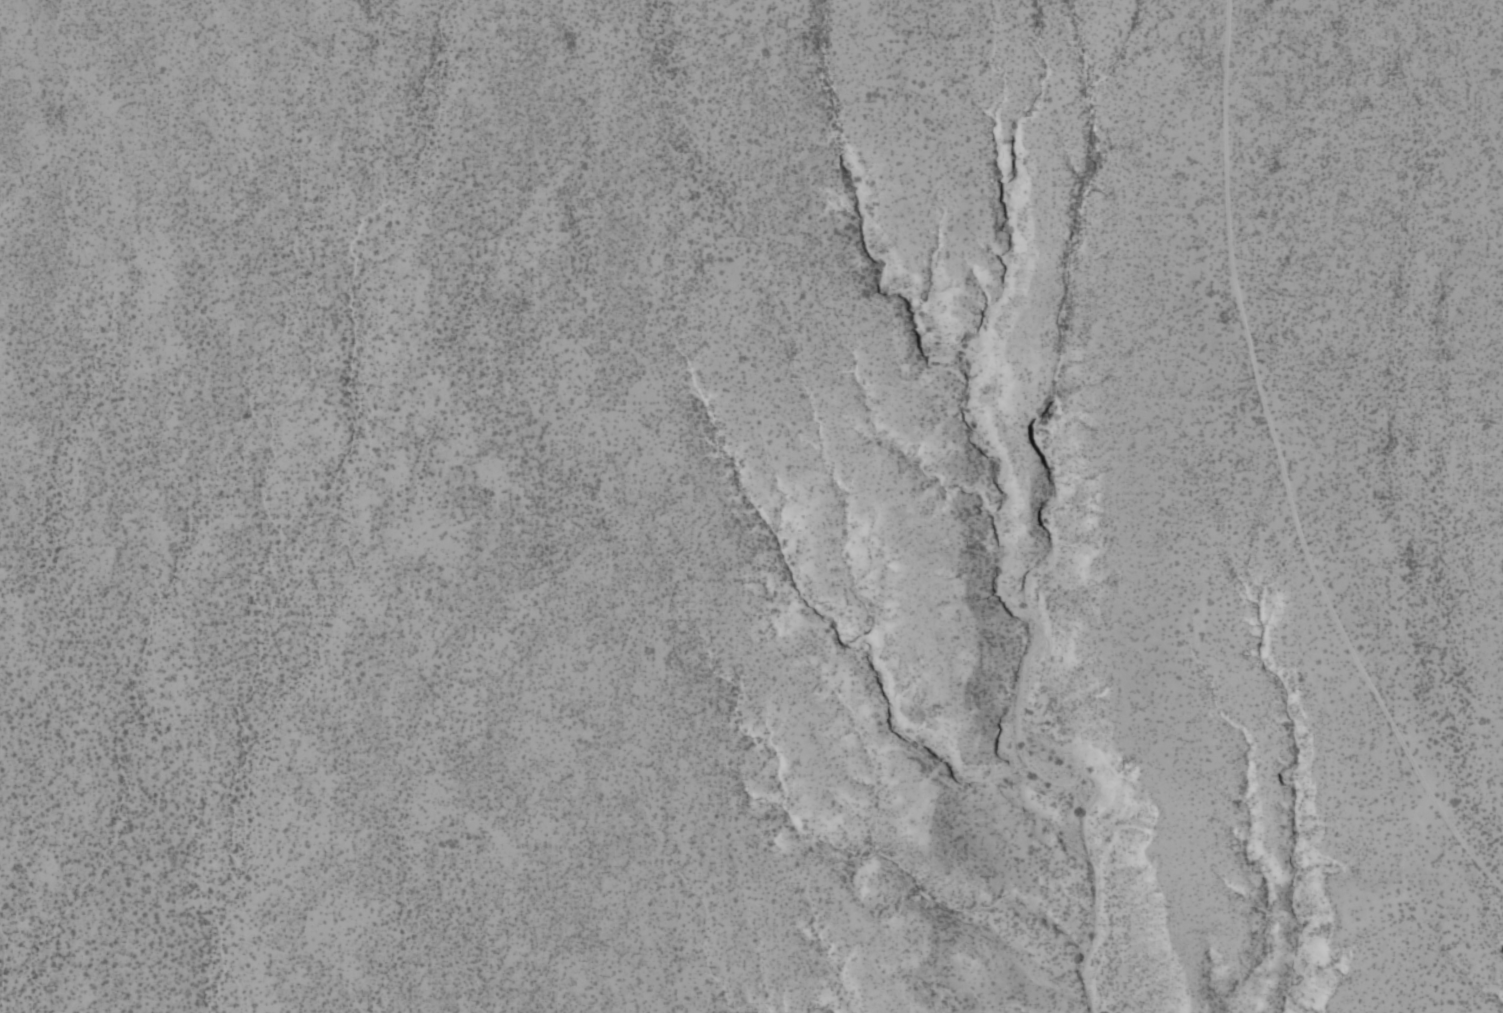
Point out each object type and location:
road: (1282, 470)

